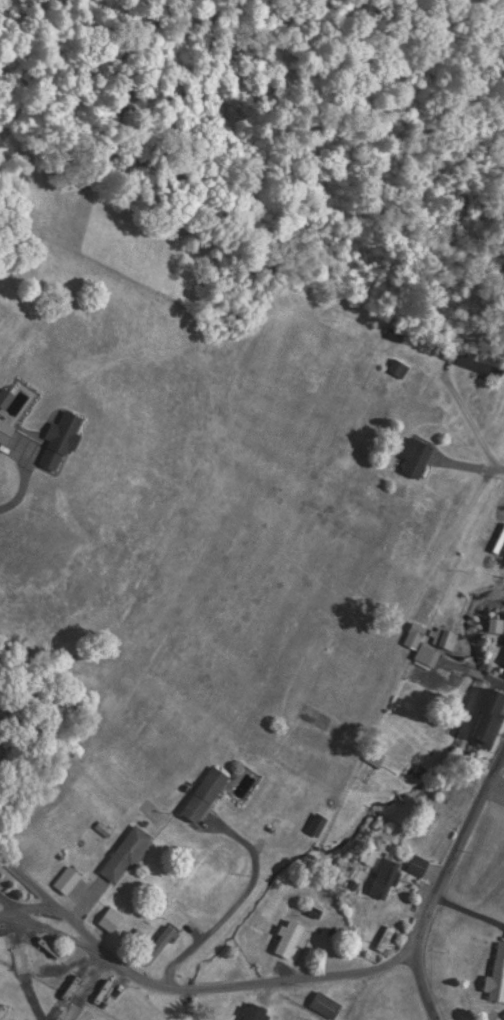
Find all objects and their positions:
building: (396, 338)
building: (463, 361)
road: (473, 425)
building: (6, 433)
building: (62, 440)
building: (417, 459)
road: (472, 466)
road: (22, 483)
road: (413, 596)
building: (416, 637)
building: (442, 639)
building: (321, 700)
building: (490, 718)
road: (502, 759)
building: (206, 797)
building: (126, 856)
building: (419, 866)
building: (385, 880)
road: (440, 881)
building: (68, 882)
road: (235, 902)
road: (27, 909)
building: (112, 921)
building: (291, 940)
building: (159, 947)
building: (51, 948)
building: (32, 963)
building: (497, 979)
road: (185, 984)
building: (91, 987)
building: (104, 992)
building: (326, 1007)
building: (255, 1013)

